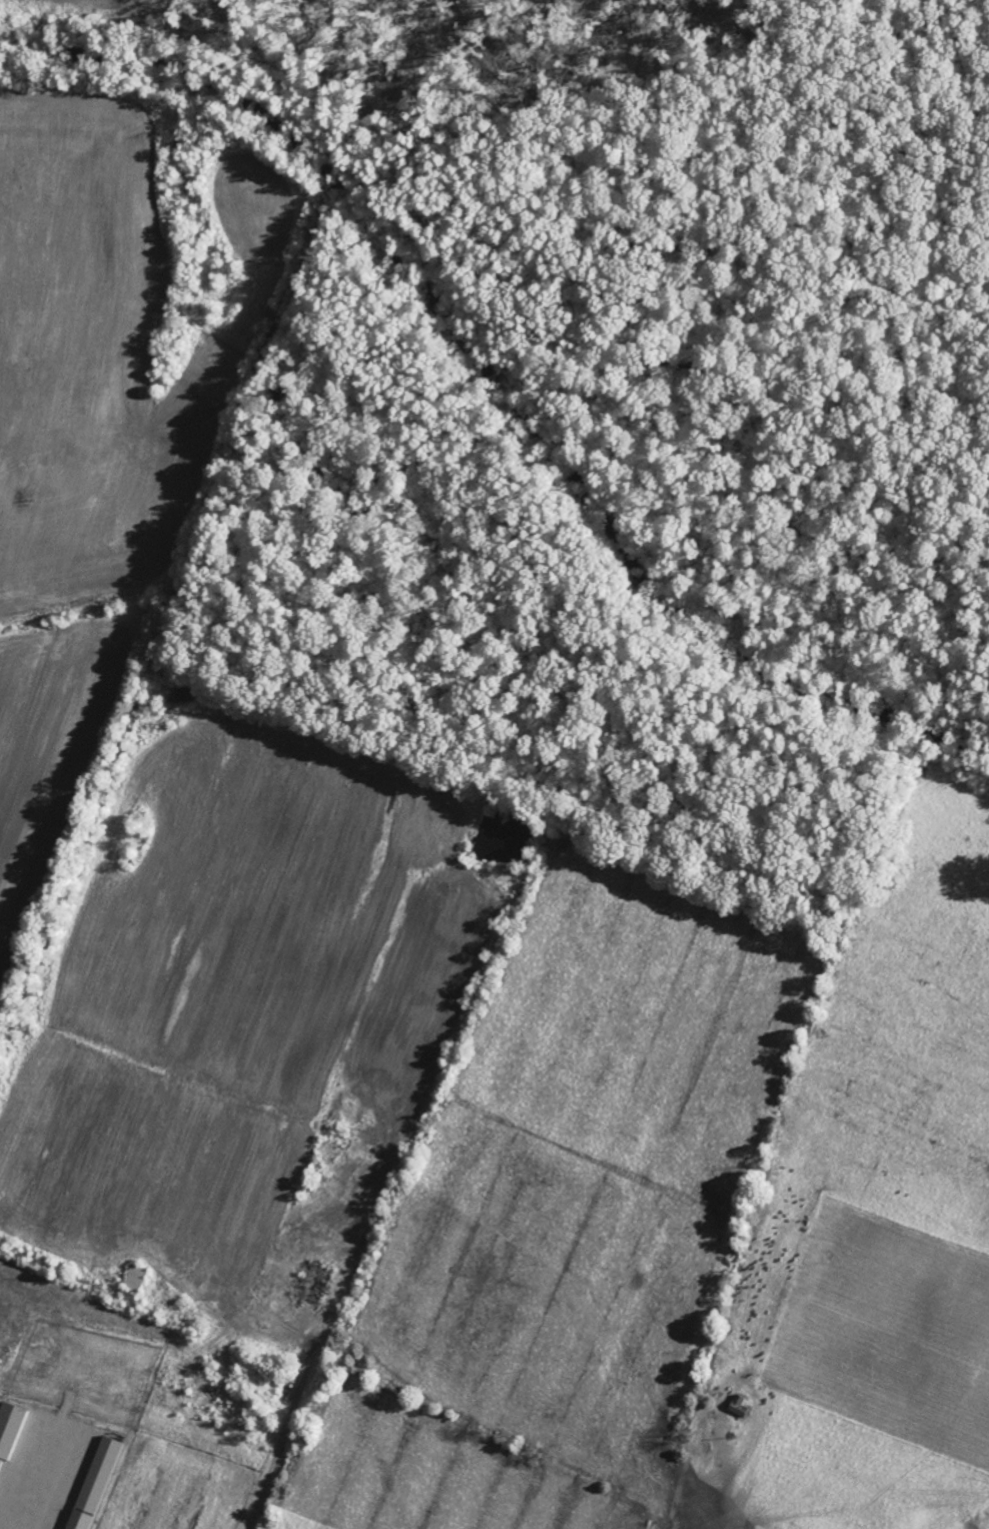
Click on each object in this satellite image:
building: (741, 1407)

